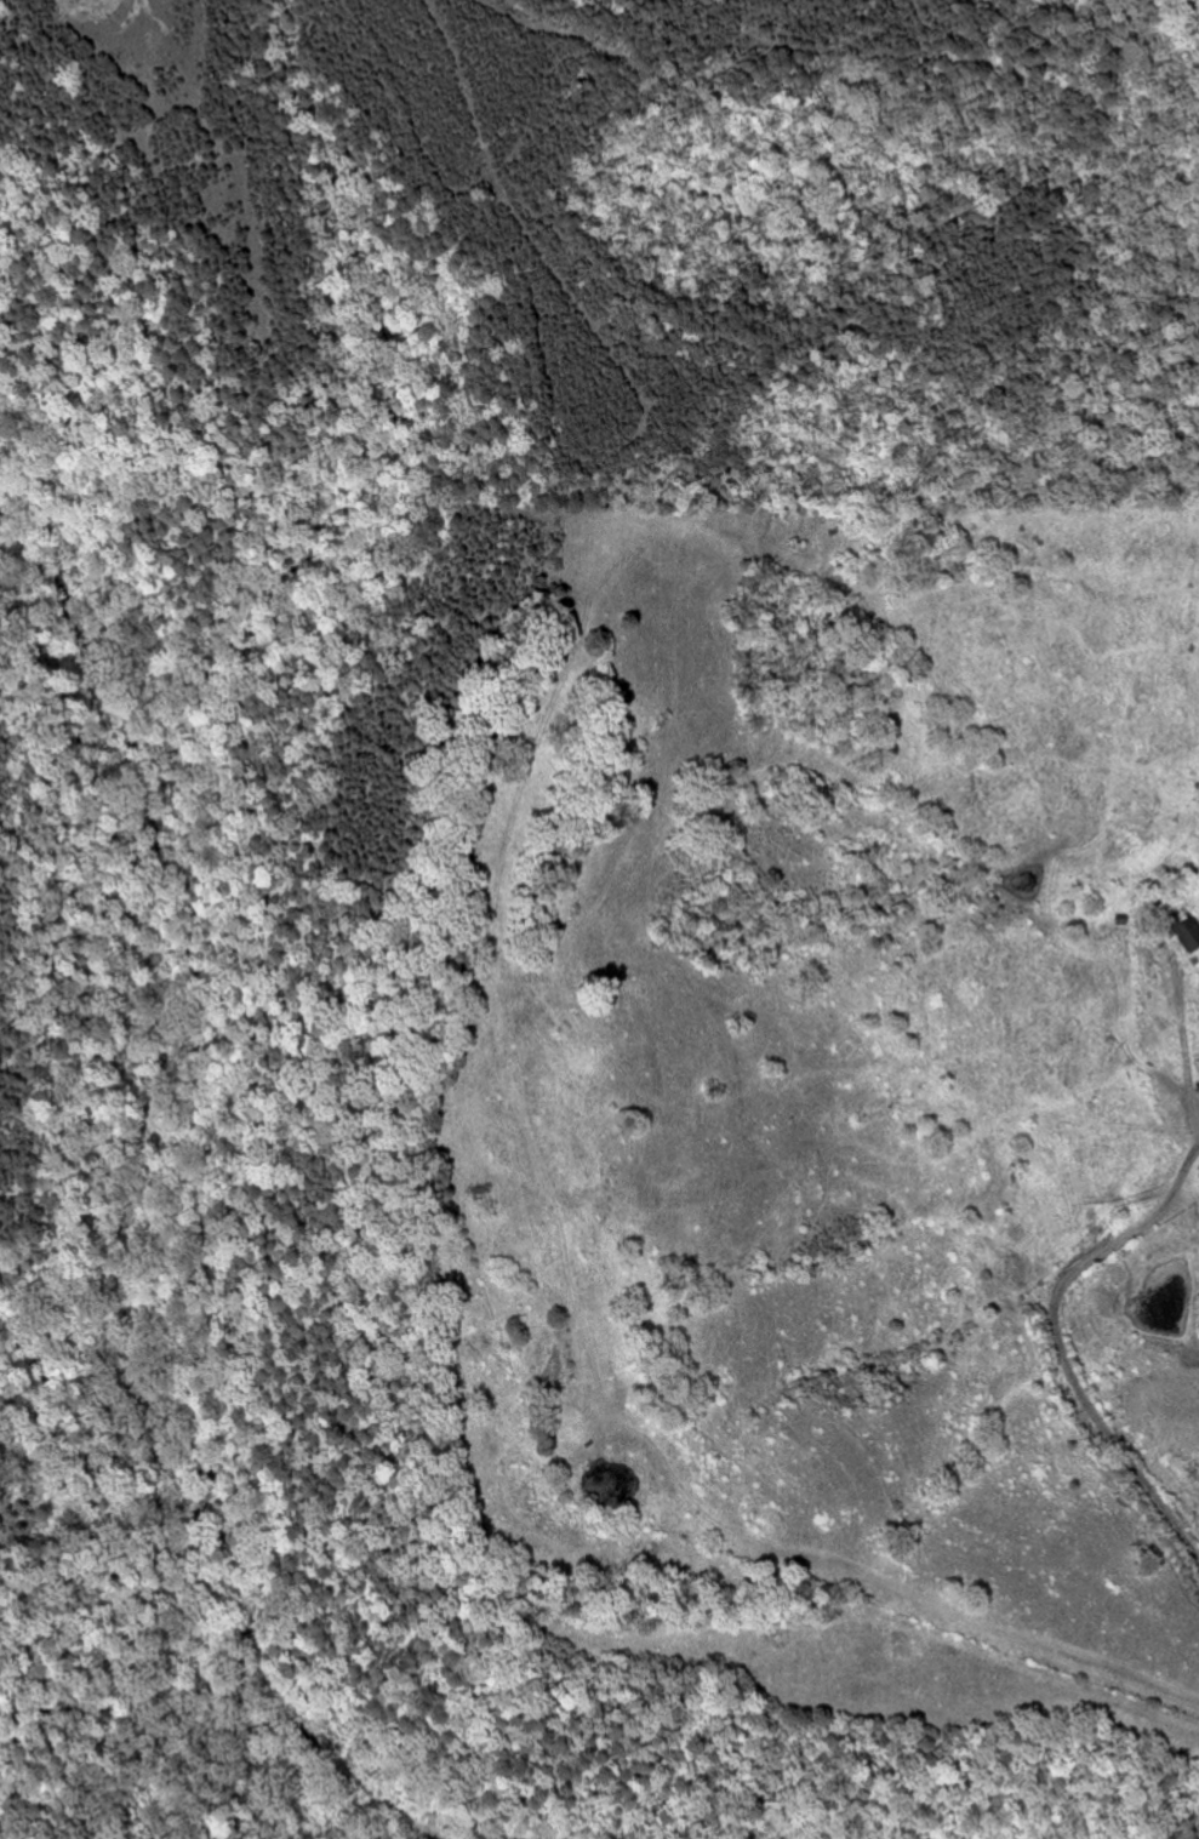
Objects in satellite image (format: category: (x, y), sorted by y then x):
building: (1184, 933)
road: (1060, 1343)

